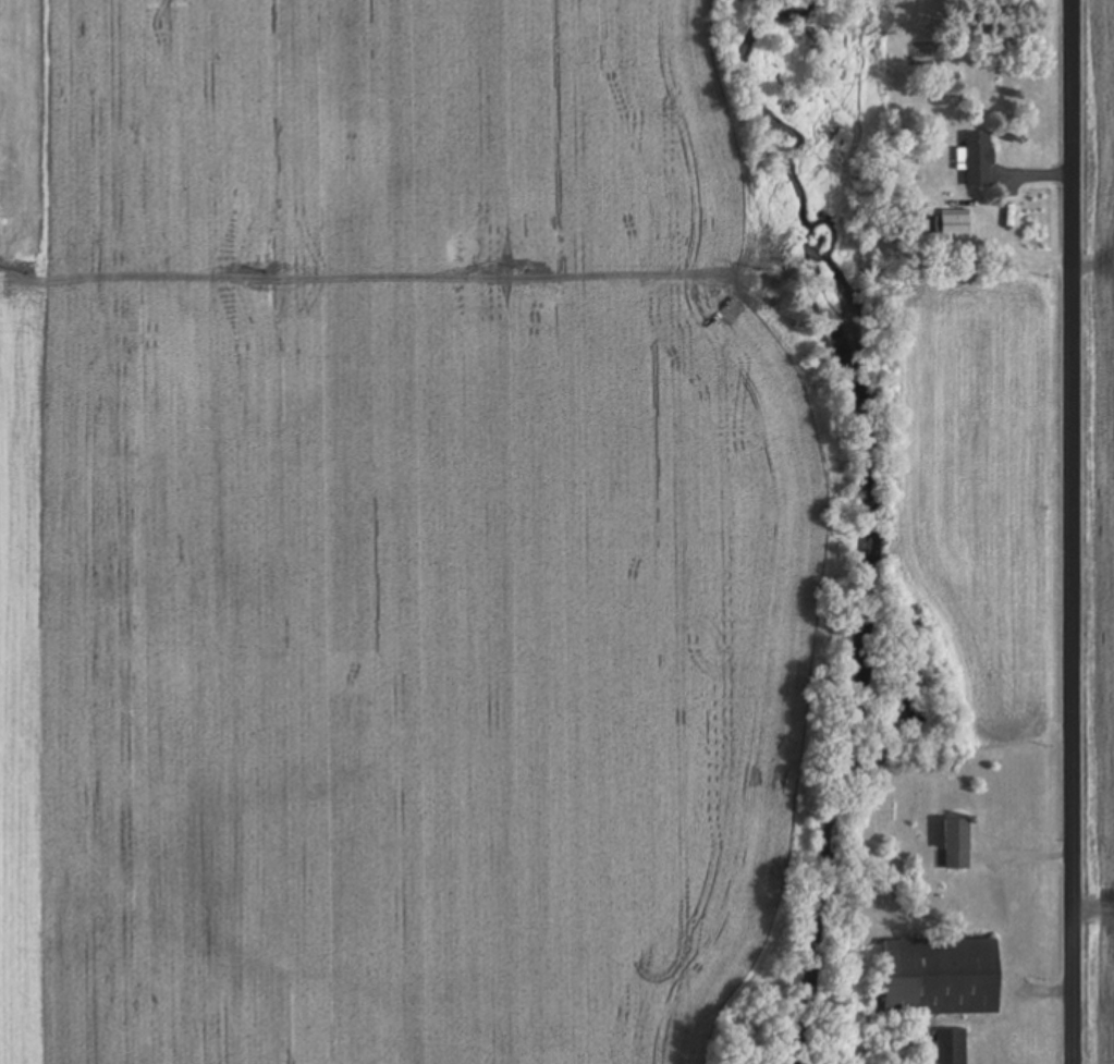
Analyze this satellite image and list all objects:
building: (980, 159)
building: (956, 223)
river: (861, 294)
road: (1075, 531)
crop: (1098, 531)
river: (868, 832)
building: (958, 845)
building: (944, 977)
building: (952, 1047)

